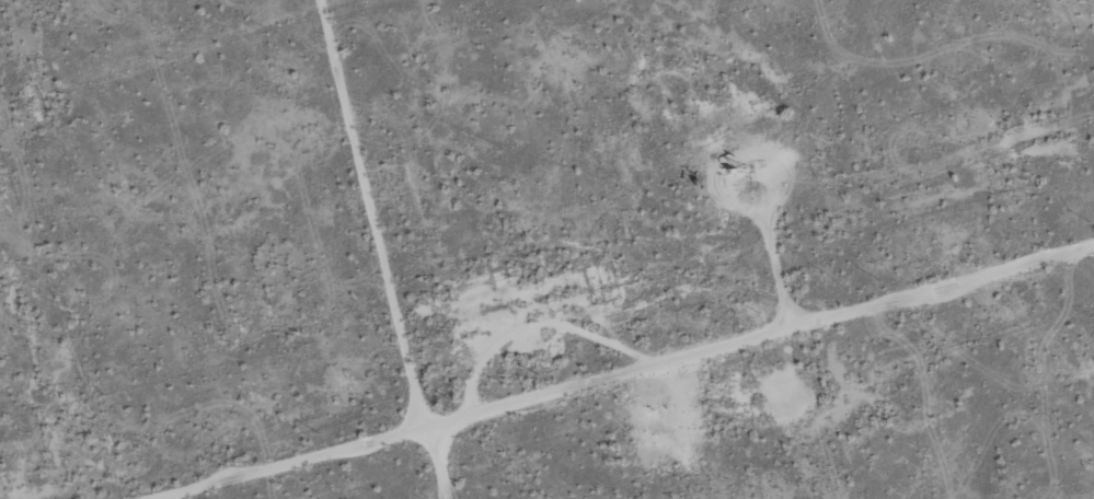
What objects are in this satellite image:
road: (551, 360)

